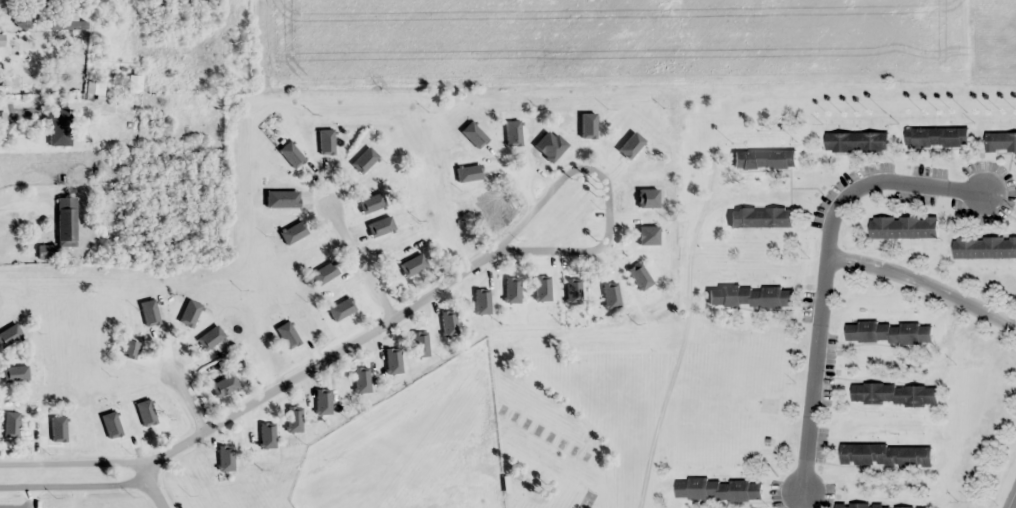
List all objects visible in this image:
building: (70, 22)
building: (61, 56)
building: (94, 90)
building: (58, 127)
building: (515, 133)
building: (936, 137)
building: (1000, 141)
building: (857, 142)
building: (552, 143)
building: (494, 144)
building: (618, 146)
building: (330, 152)
building: (764, 159)
building: (358, 162)
building: (299, 166)
building: (639, 168)
road: (524, 173)
building: (479, 179)
road: (607, 191)
building: (371, 193)
building: (287, 194)
building: (644, 200)
building: (495, 209)
road: (20, 213)
building: (760, 217)
building: (65, 221)
building: (903, 227)
building: (297, 228)
building: (642, 235)
building: (376, 236)
building: (984, 247)
road: (361, 261)
building: (406, 261)
building: (330, 266)
building: (512, 278)
building: (540, 279)
road: (823, 281)
road: (922, 284)
building: (575, 286)
building: (602, 286)
building: (750, 296)
building: (479, 297)
building: (337, 304)
building: (450, 321)
building: (181, 323)
building: (146, 328)
building: (10, 332)
building: (888, 332)
building: (204, 337)
building: (289, 343)
building: (129, 348)
building: (418, 349)
building: (388, 366)
building: (14, 373)
building: (213, 380)
building: (356, 384)
building: (325, 393)
building: (894, 394)
road: (187, 400)
road: (255, 400)
building: (295, 411)
building: (151, 417)
building: (113, 430)
building: (265, 430)
building: (56, 434)
building: (885, 455)
road: (153, 489)
building: (718, 489)
road: (1013, 503)
road: (1014, 504)
building: (879, 506)

